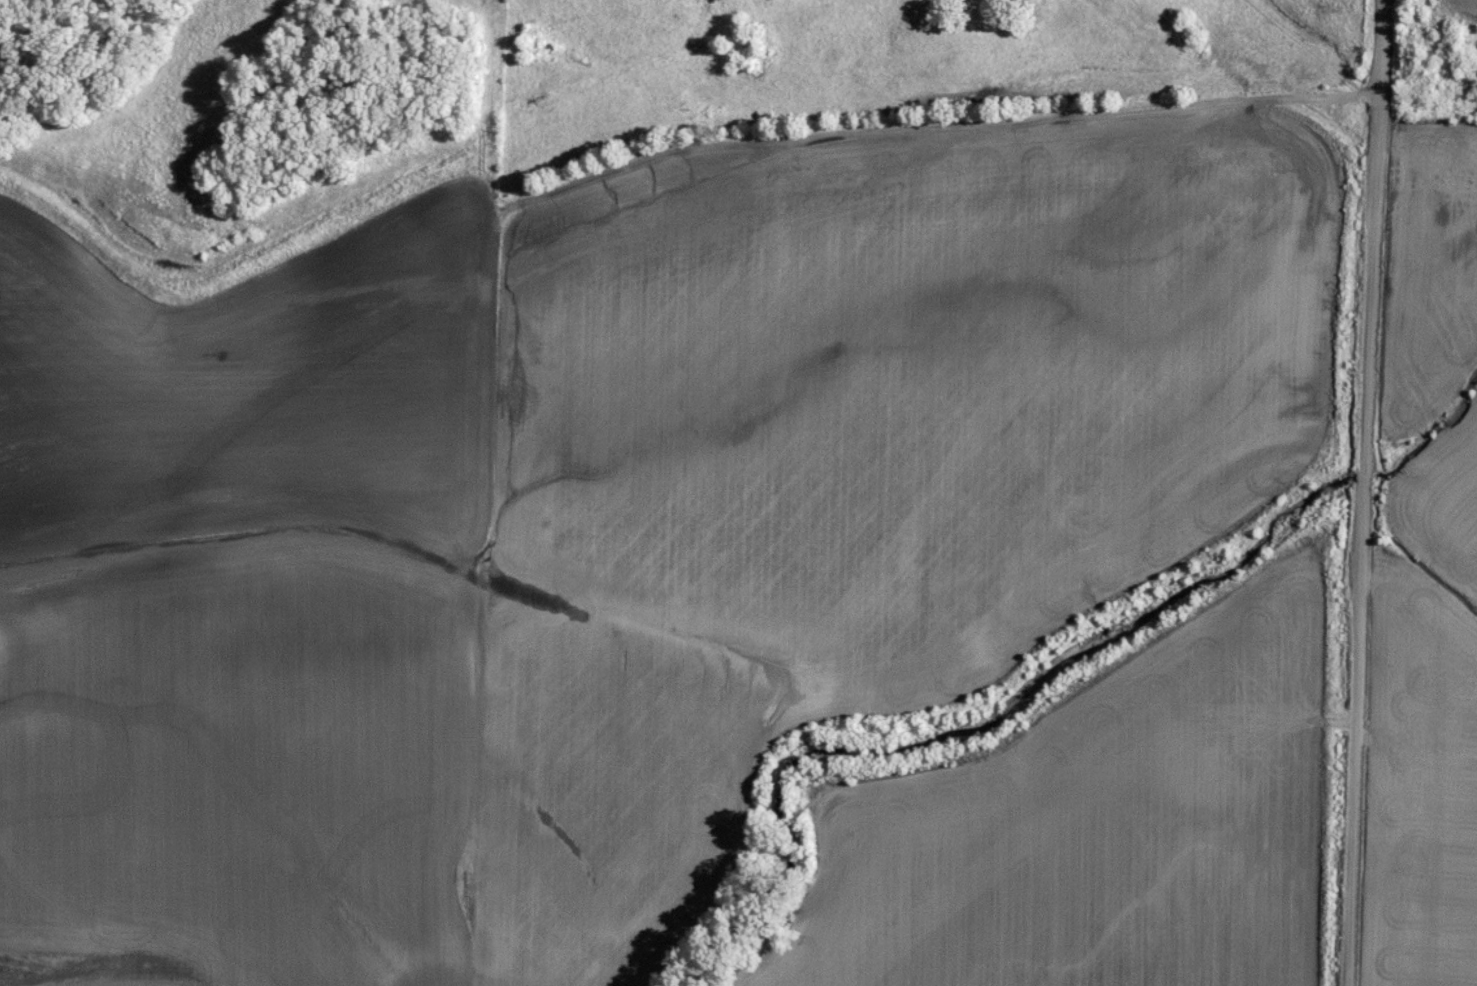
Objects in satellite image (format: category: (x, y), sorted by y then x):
road: (1340, 492)

